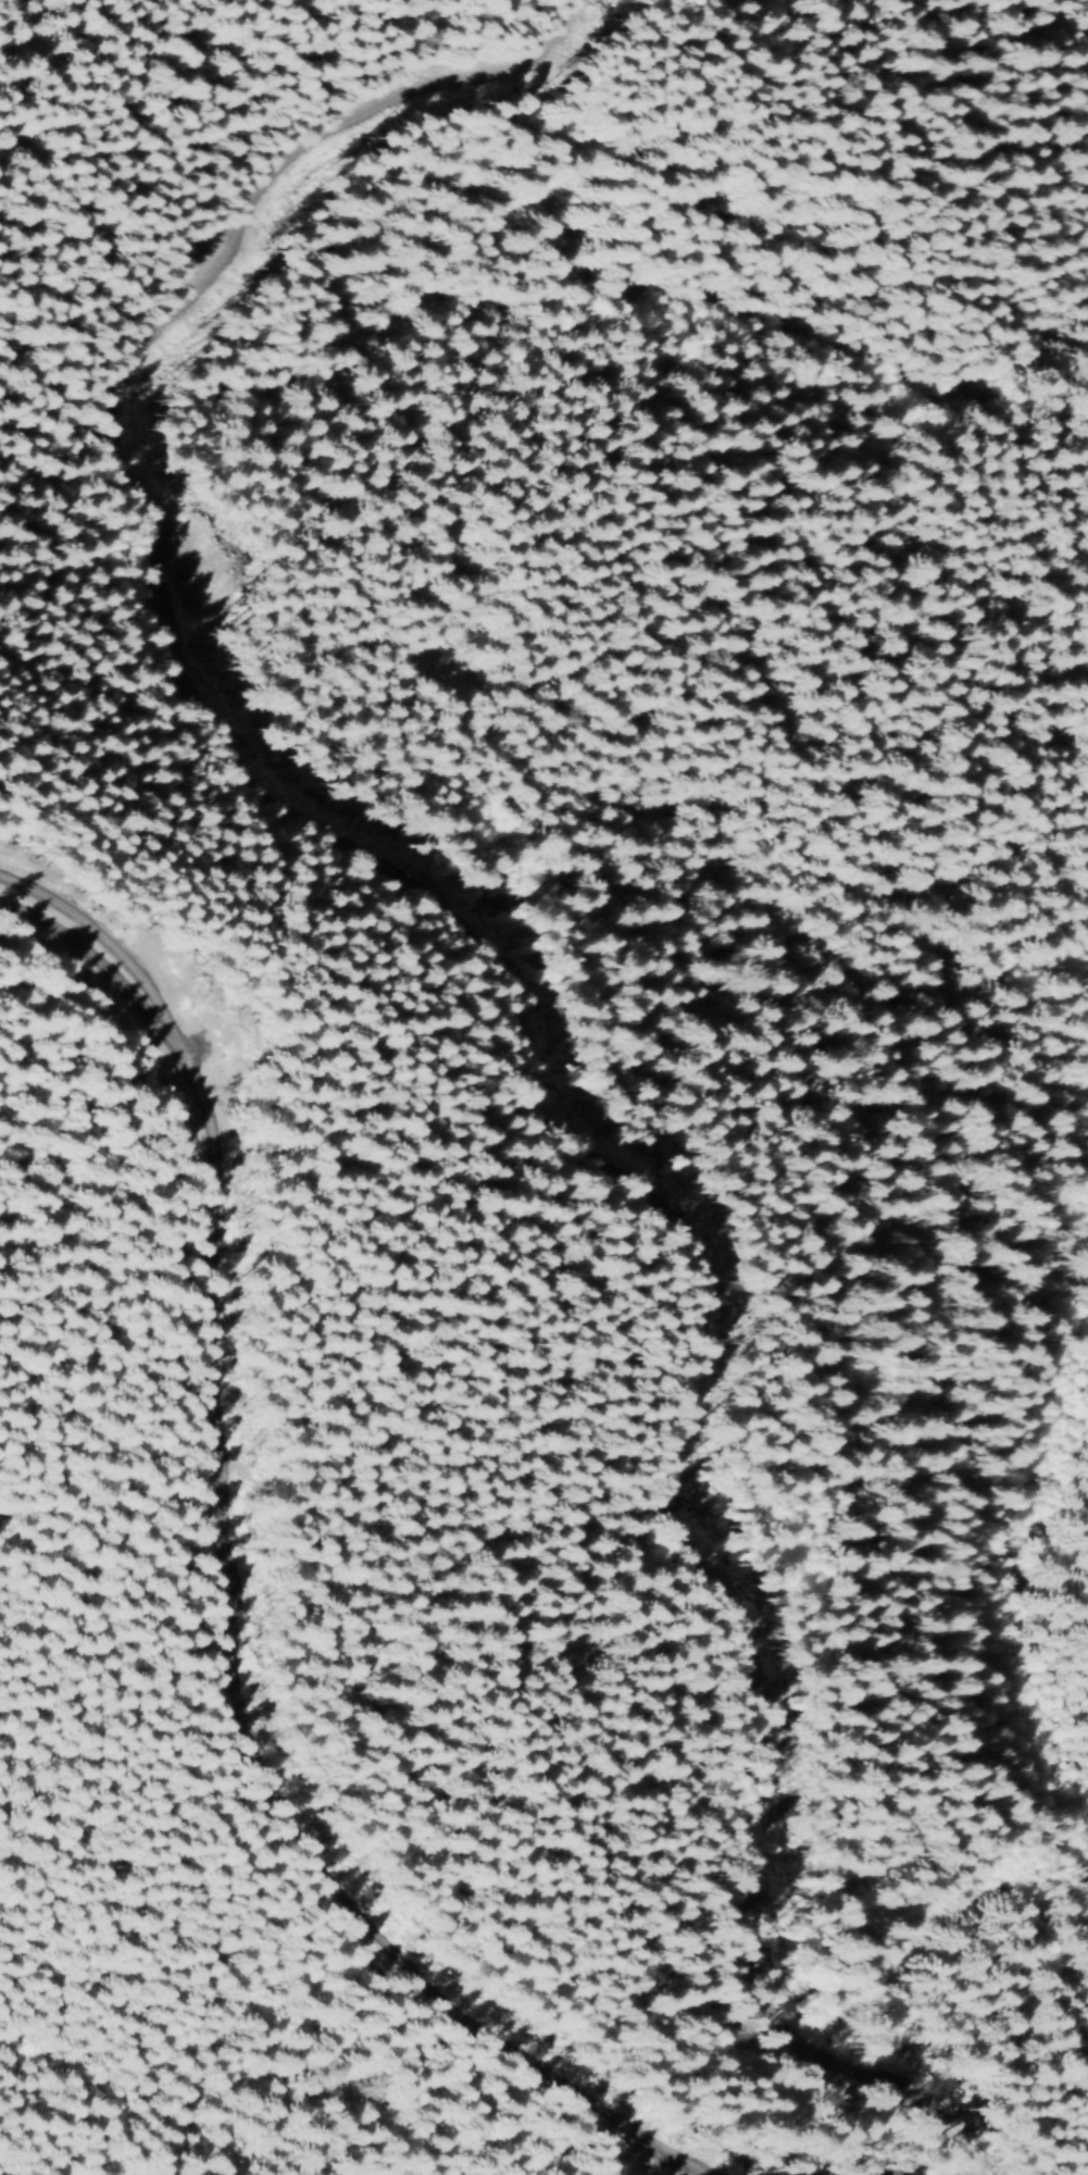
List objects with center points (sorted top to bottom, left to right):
road: (303, 1049)

